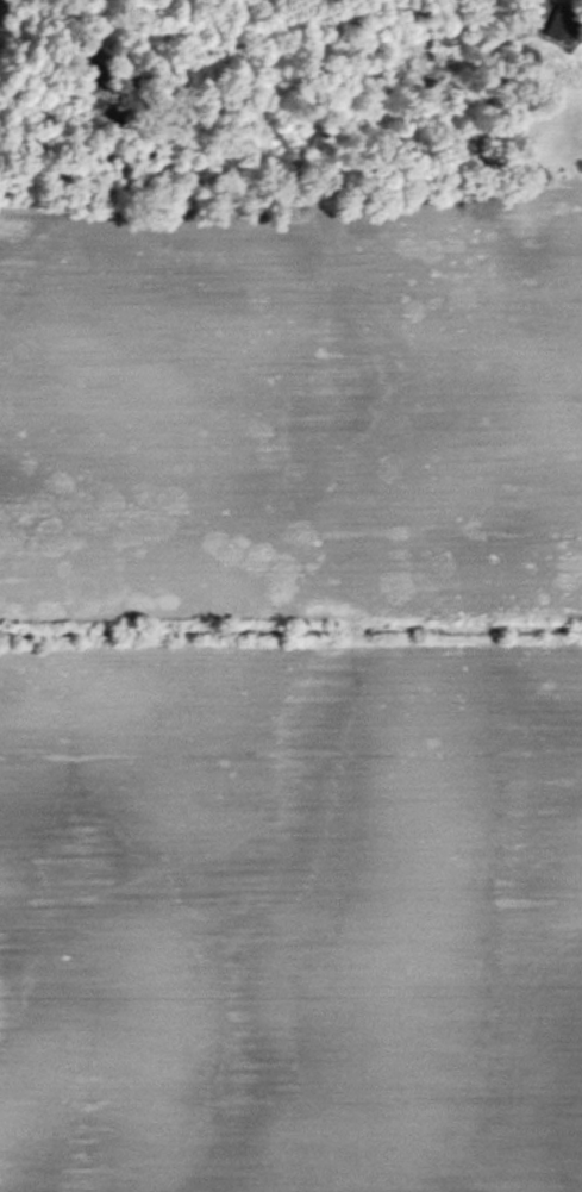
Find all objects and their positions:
building: (561, 26)

